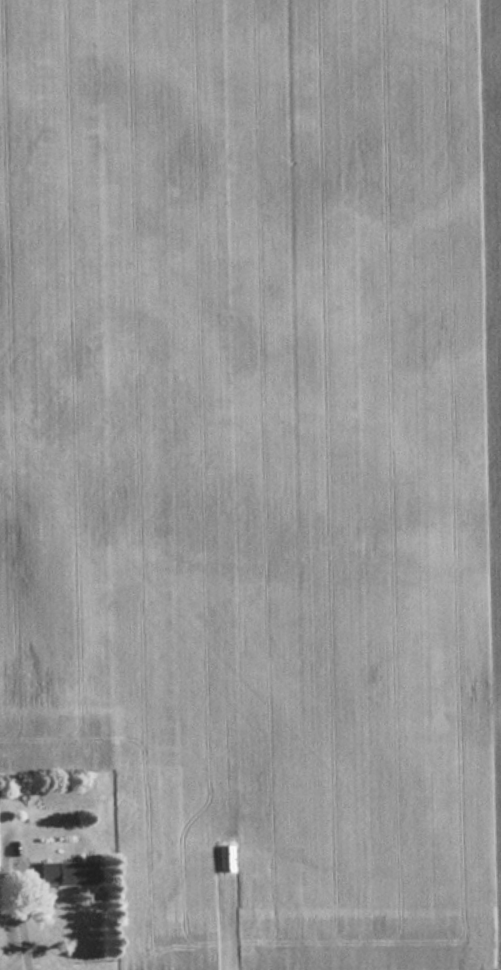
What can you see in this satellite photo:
building: (225, 857)
building: (64, 872)
road: (21, 911)

